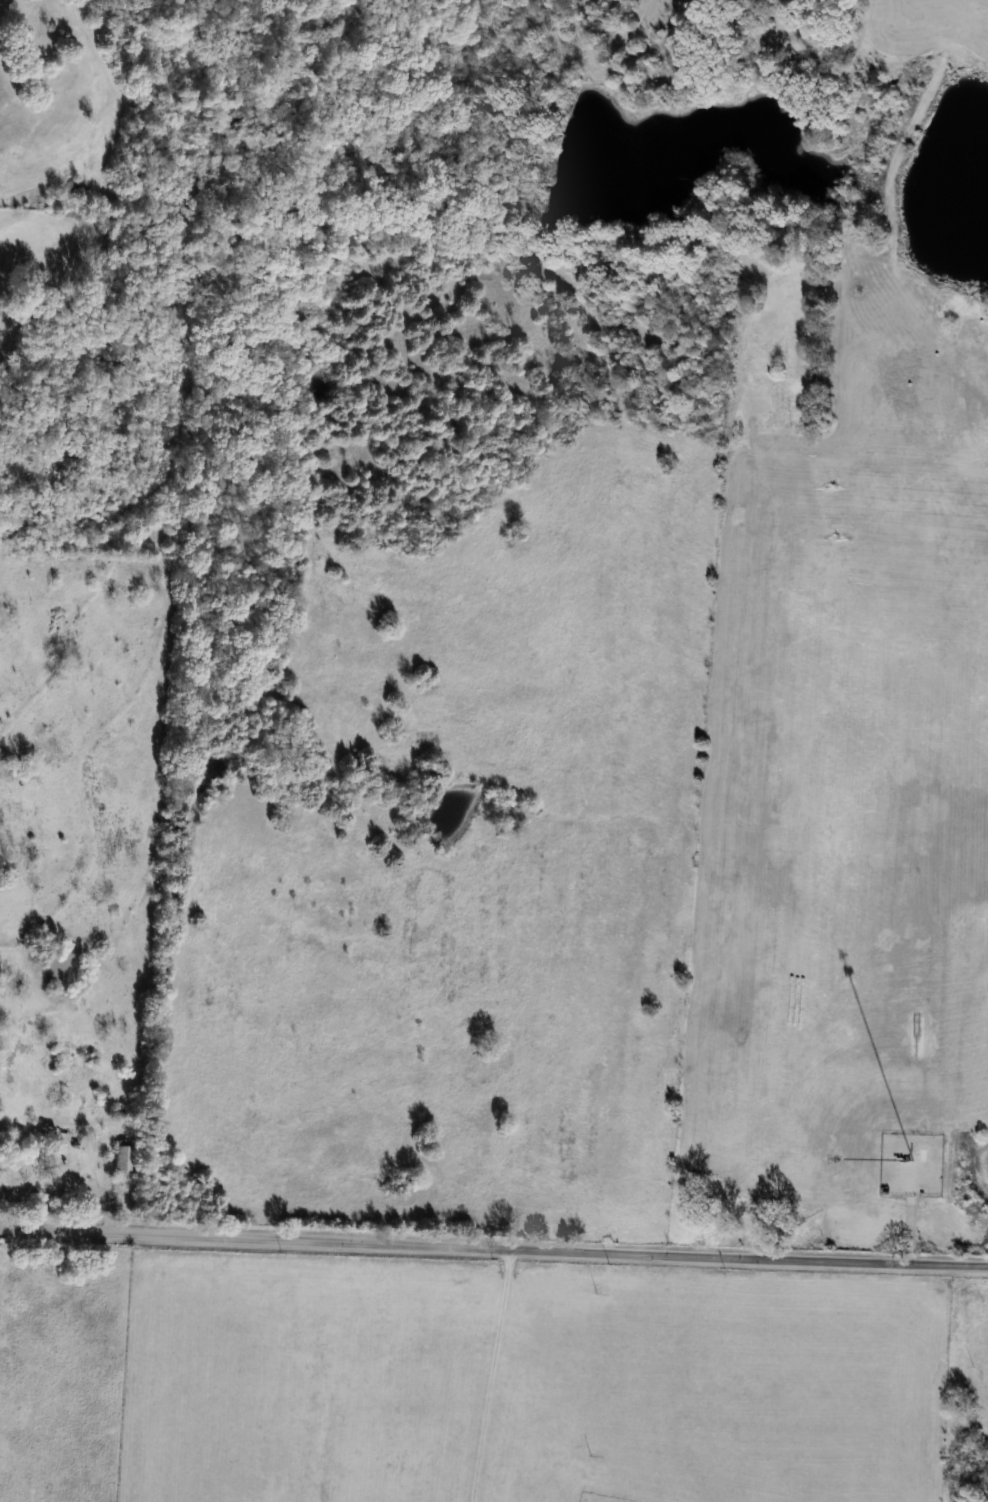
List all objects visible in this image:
building: (18, 768)
building: (5, 1141)
building: (123, 1157)
road: (493, 1249)
road: (498, 1376)

